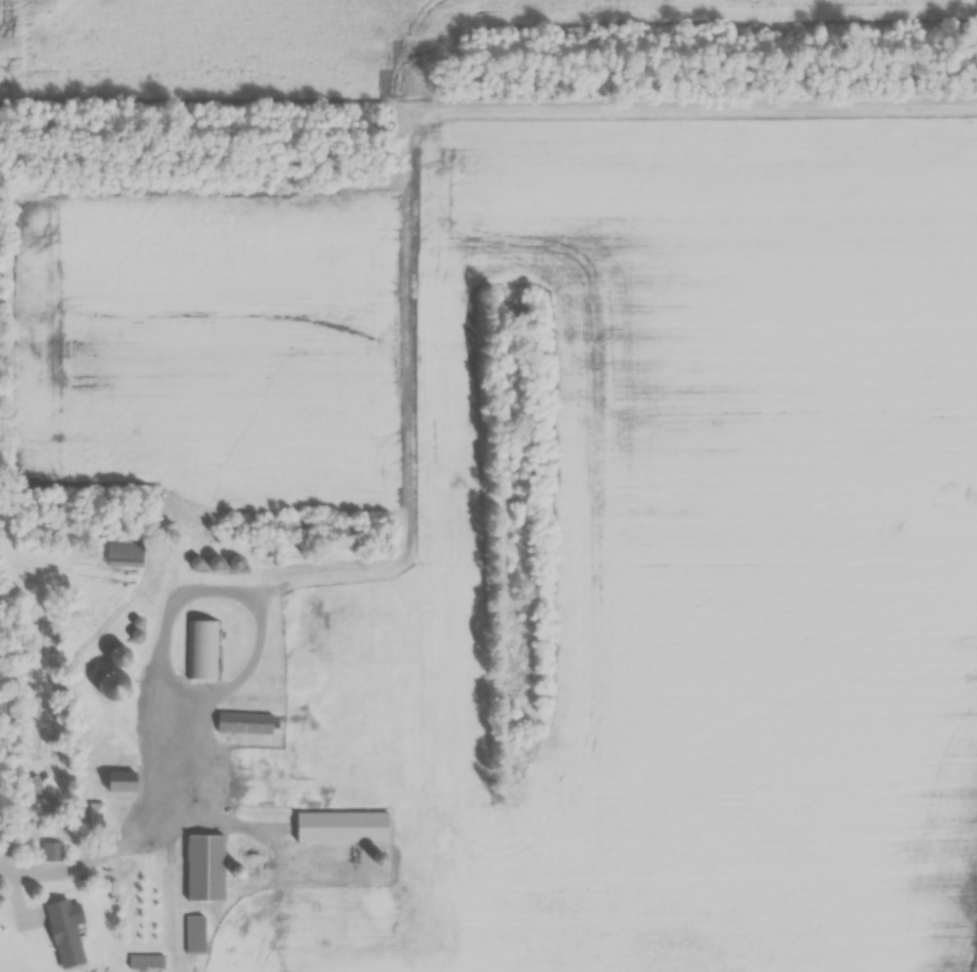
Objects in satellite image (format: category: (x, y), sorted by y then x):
building: (122, 553)
building: (233, 561)
building: (201, 648)
building: (115, 655)
building: (111, 710)
building: (242, 721)
building: (118, 780)
building: (43, 790)
building: (95, 814)
building: (340, 826)
building: (50, 850)
building: (203, 865)
building: (62, 931)

